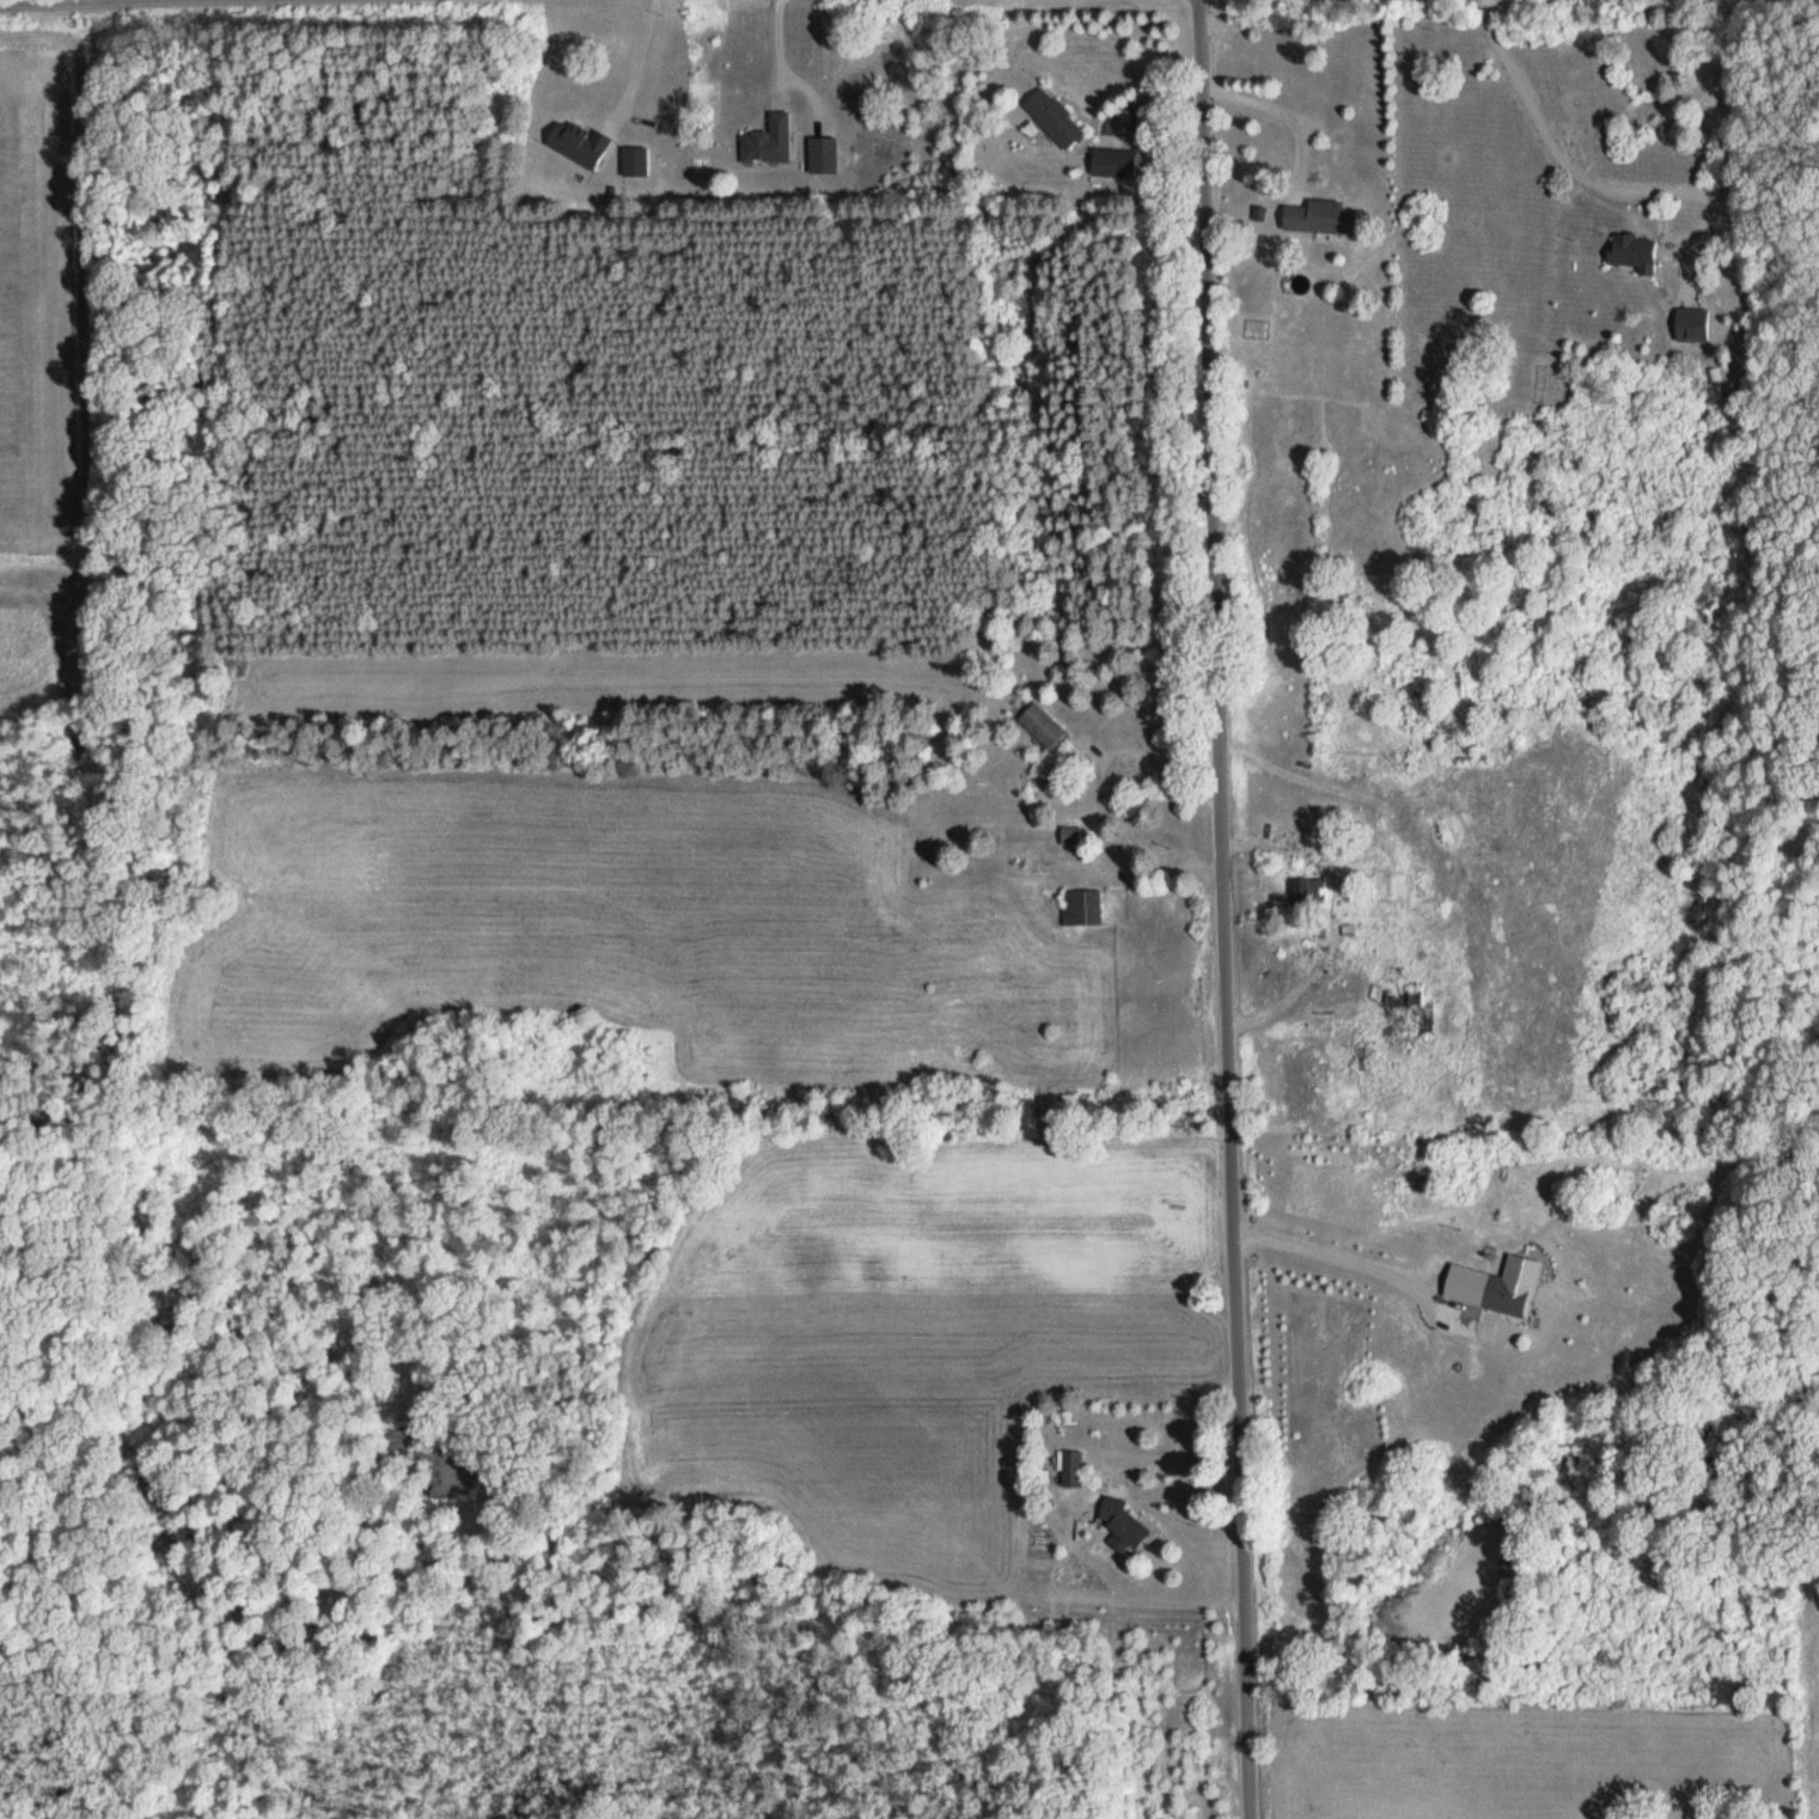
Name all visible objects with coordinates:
road: (639, 61)
road: (785, 67)
building: (1052, 117)
building: (767, 140)
building: (575, 141)
building: (822, 153)
building: (634, 159)
building: (1112, 161)
road: (1648, 187)
building: (1320, 215)
building: (1630, 250)
building: (1040, 724)
building: (1074, 834)
building: (1308, 891)
building: (1080, 907)
road: (1221, 909)
building: (1400, 1015)
building: (1068, 1470)
building: (1121, 1524)

